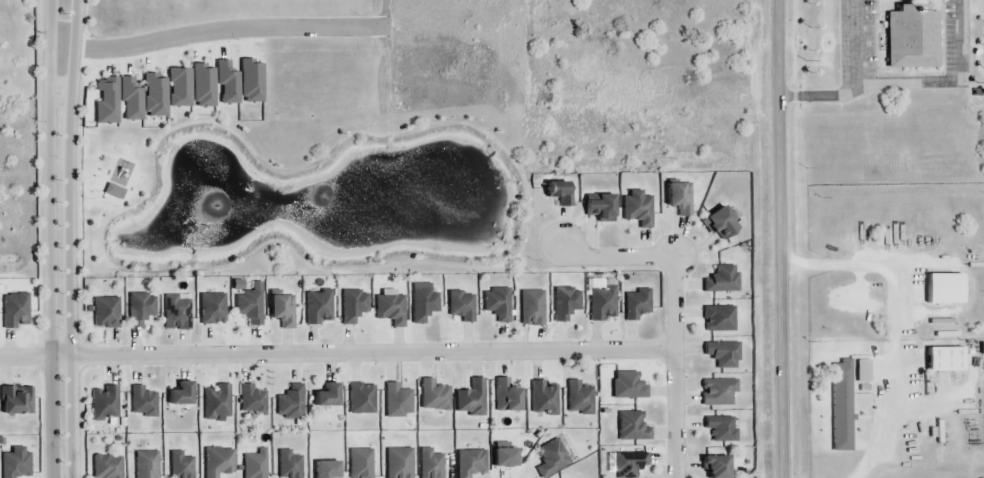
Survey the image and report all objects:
building: (914, 37)
road: (164, 38)
road: (854, 45)
building: (251, 82)
building: (227, 83)
road: (910, 84)
building: (202, 88)
building: (180, 90)
building: (156, 96)
building: (129, 99)
building: (107, 102)
building: (560, 194)
building: (678, 198)
building: (600, 207)
building: (635, 210)
building: (723, 222)
road: (49, 238)
road: (70, 238)
road: (781, 238)
building: (724, 279)
building: (459, 305)
building: (566, 305)
building: (637, 305)
building: (424, 306)
building: (495, 306)
building: (603, 306)
building: (534, 307)
building: (248, 308)
building: (319, 308)
road: (674, 308)
building: (212, 309)
building: (284, 309)
building: (353, 309)
building: (388, 309)
building: (139, 311)
building: (104, 312)
building: (177, 312)
building: (12, 314)
building: (720, 318)
road: (337, 353)
building: (723, 354)
building: (627, 385)
building: (842, 388)
building: (718, 394)
building: (507, 395)
building: (182, 396)
building: (328, 397)
building: (433, 397)
building: (542, 397)
building: (248, 398)
building: (472, 398)
building: (15, 399)
building: (359, 399)
building: (580, 399)
building: (397, 400)
building: (214, 402)
building: (290, 402)
building: (141, 403)
building: (106, 404)
building: (631, 429)
building: (722, 430)
building: (506, 457)
building: (551, 457)
building: (216, 459)
building: (13, 461)
building: (398, 463)
building: (430, 463)
building: (252, 464)
building: (287, 464)
building: (361, 464)
building: (628, 464)
building: (177, 465)
building: (469, 465)
building: (105, 466)
building: (145, 466)
building: (718, 466)
building: (326, 469)

